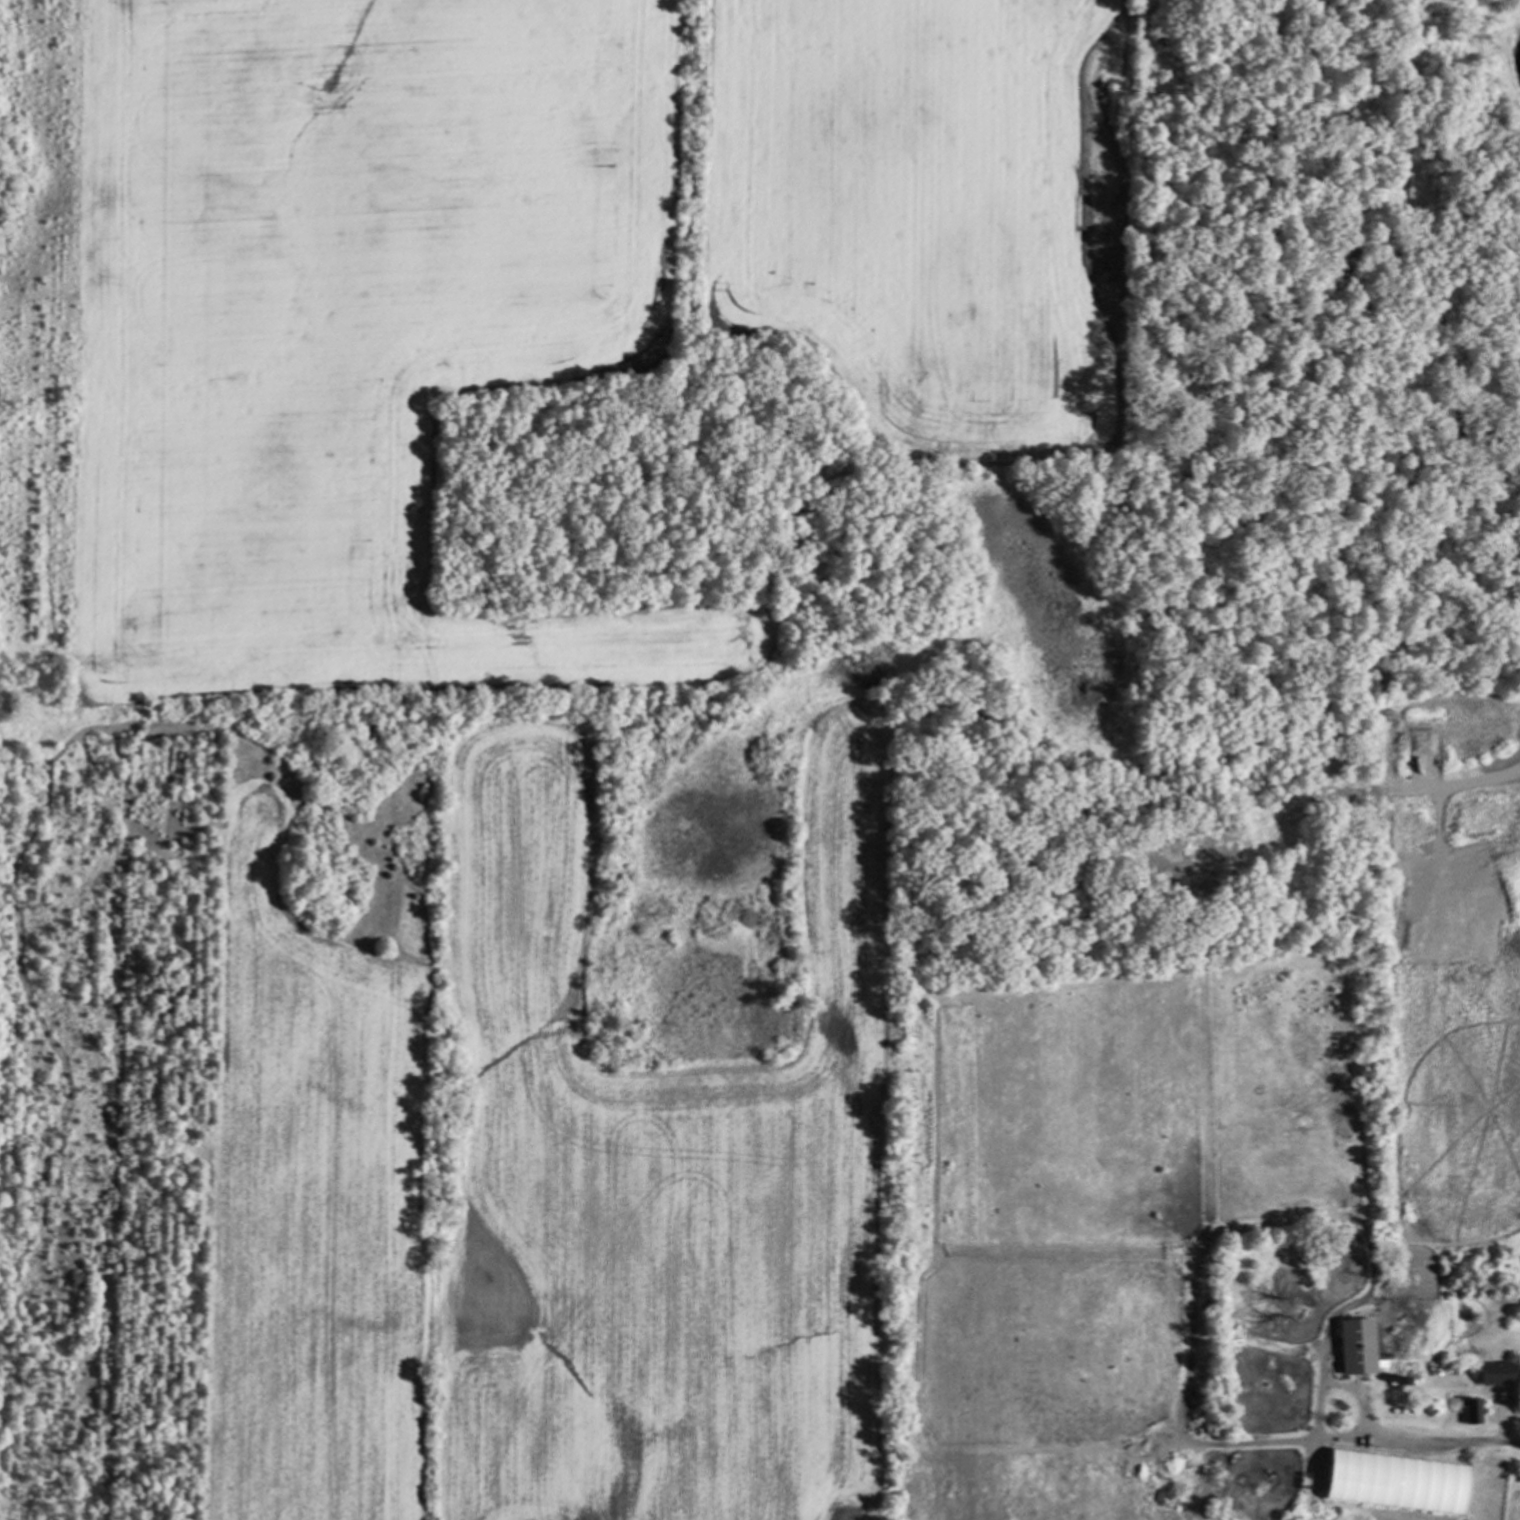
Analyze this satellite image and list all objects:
crop: (533, 670)
road: (1479, 774)
crop: (3, 779)
building: (1354, 1346)
building: (1492, 1372)
building: (1470, 1410)
road: (1446, 1440)

